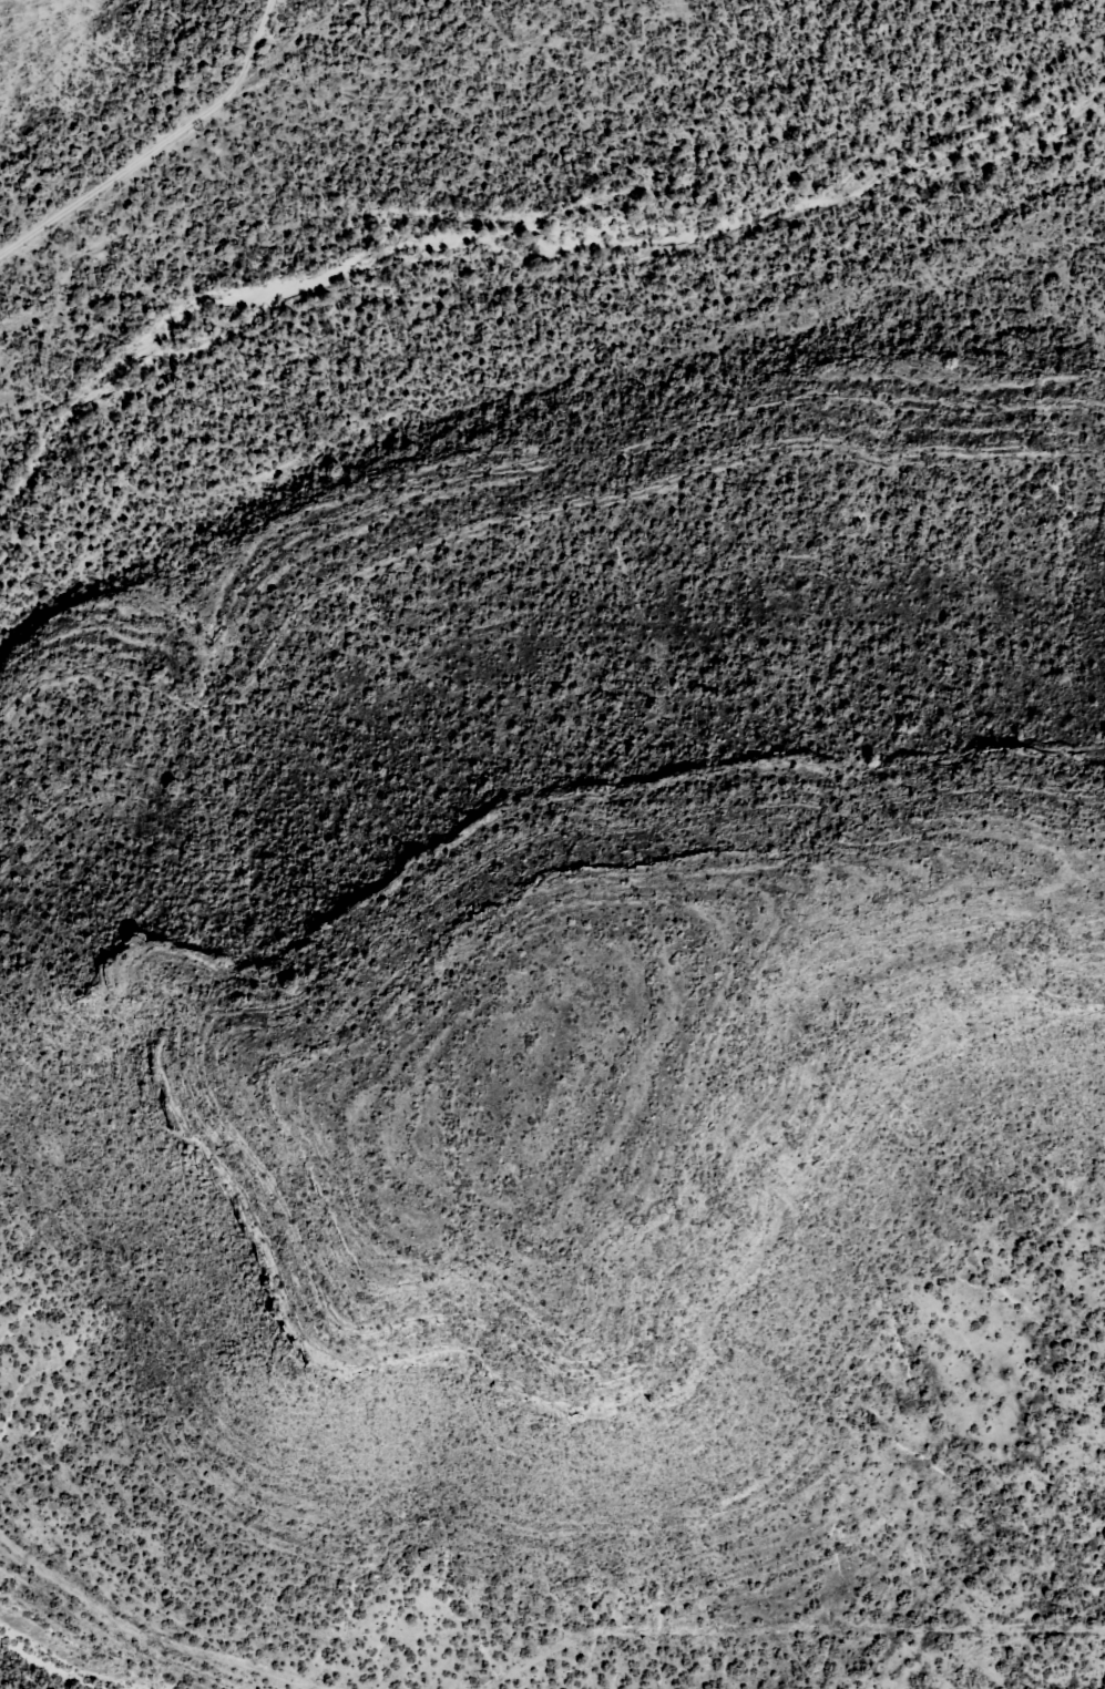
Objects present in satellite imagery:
road: (202, 134)

